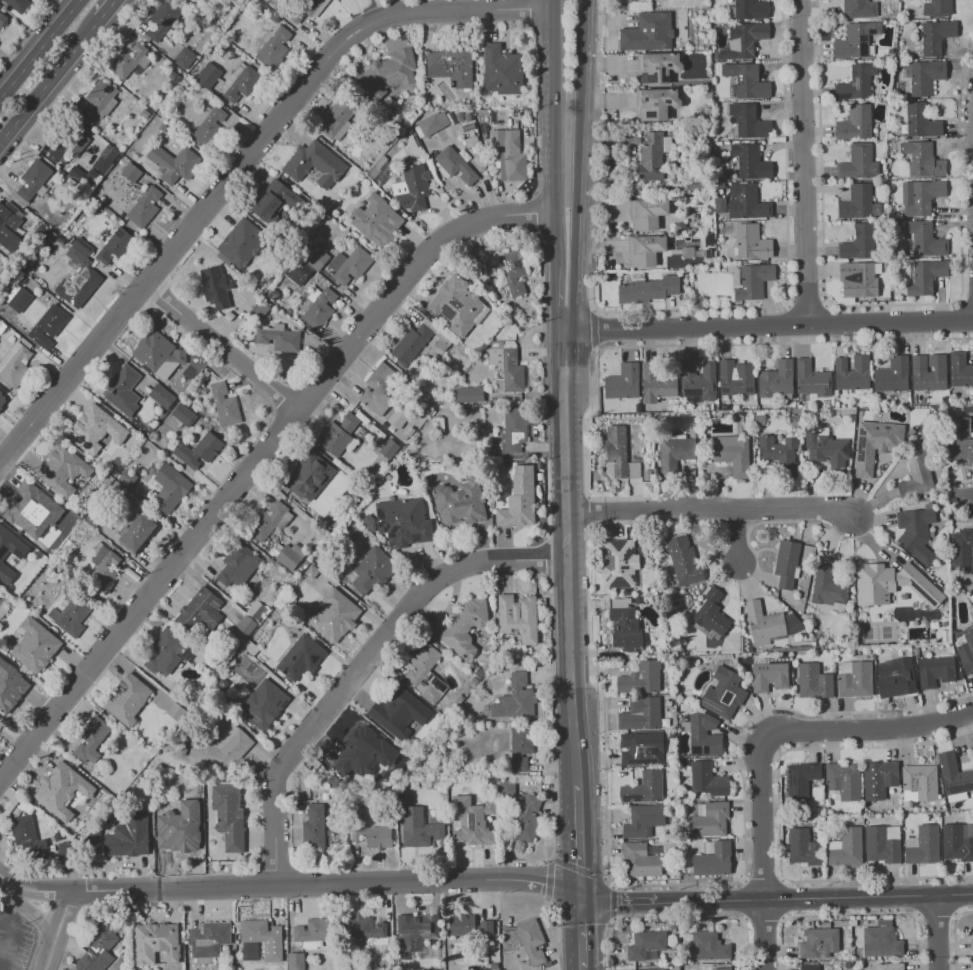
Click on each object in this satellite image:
building: (194, 0)
building: (17, 4)
building: (938, 8)
road: (105, 9)
building: (304, 9)
building: (749, 9)
building: (859, 9)
road: (530, 15)
building: (2, 18)
building: (162, 19)
building: (649, 32)
building: (937, 36)
building: (745, 40)
building: (857, 40)
building: (273, 45)
road: (38, 47)
building: (184, 57)
building: (128, 60)
building: (450, 64)
building: (658, 67)
building: (501, 70)
building: (388, 74)
building: (208, 75)
building: (924, 76)
road: (49, 78)
building: (747, 81)
building: (239, 82)
road: (67, 83)
building: (858, 83)
building: (99, 100)
building: (657, 103)
building: (706, 115)
building: (339, 117)
building: (750, 121)
building: (922, 121)
building: (433, 122)
building: (856, 123)
building: (209, 127)
road: (553, 133)
building: (696, 139)
building: (64, 146)
building: (507, 156)
building: (654, 156)
building: (105, 158)
building: (924, 159)
building: (752, 161)
road: (805, 161)
building: (173, 163)
building: (859, 163)
building: (314, 164)
building: (454, 164)
road: (575, 165)
building: (938, 177)
building: (32, 178)
road: (240, 178)
building: (412, 188)
building: (697, 189)
building: (921, 196)
building: (274, 200)
building: (748, 202)
building: (860, 203)
building: (144, 206)
building: (719, 207)
building: (649, 213)
building: (697, 216)
building: (376, 220)
building: (8, 226)
building: (681, 227)
building: (686, 234)
building: (927, 239)
building: (753, 242)
building: (860, 242)
building: (240, 244)
building: (114, 245)
building: (646, 249)
rooftop solar panel: (518, 263)
building: (307, 265)
building: (349, 265)
rooftop solar panel: (504, 265)
building: (513, 271)
building: (78, 275)
building: (925, 276)
building: (860, 279)
building: (752, 280)
building: (215, 286)
building: (650, 289)
building: (17, 298)
road: (553, 299)
road: (966, 299)
building: (456, 305)
road: (807, 306)
road: (874, 306)
building: (319, 307)
road: (594, 309)
road: (690, 310)
rooftop solar panel: (447, 312)
road: (767, 325)
building: (47, 326)
road: (594, 328)
building: (278, 337)
building: (412, 342)
road: (756, 344)
road: (232, 345)
road: (596, 347)
building: (157, 353)
building: (507, 363)
building: (15, 364)
building: (961, 369)
building: (930, 373)
building: (854, 374)
building: (894, 375)
building: (737, 378)
building: (813, 379)
building: (700, 381)
building: (777, 381)
building: (624, 382)
building: (659, 383)
building: (378, 388)
building: (122, 390)
rooftop solar panel: (694, 392)
building: (469, 394)
building: (161, 395)
building: (2, 397)
building: (802, 397)
building: (224, 404)
building: (807, 412)
building: (183, 414)
building: (737, 414)
building: (399, 416)
building: (760, 419)
building: (349, 422)
building: (95, 428)
building: (514, 428)
building: (333, 438)
building: (961, 439)
building: (876, 441)
building: (802, 443)
building: (388, 448)
building: (828, 449)
building: (198, 450)
building: (621, 453)
building: (676, 453)
building: (733, 454)
building: (781, 454)
road: (260, 464)
building: (63, 470)
building: (656, 470)
building: (918, 473)
building: (649, 475)
building: (308, 476)
road: (963, 481)
building: (169, 488)
building: (519, 498)
road: (967, 499)
building: (459, 502)
road: (709, 509)
road: (587, 510)
rooftop solar panel: (381, 512)
road: (962, 517)
building: (266, 521)
rooftop solar panel: (380, 521)
building: (403, 521)
rooftop solar panel: (394, 528)
building: (138, 532)
building: (917, 533)
road: (739, 536)
rooftop solar panel: (618, 544)
building: (962, 551)
rooftop solar panel: (628, 554)
building: (19, 555)
building: (289, 555)
road: (564, 556)
rooftop solar panel: (609, 559)
building: (685, 561)
building: (620, 563)
building: (788, 563)
building: (237, 565)
rooftop solar panel: (625, 566)
building: (102, 568)
building: (371, 570)
rooftop solar panel: (608, 577)
rooftop solar panel: (634, 577)
rooftop solar panel: (622, 580)
building: (891, 584)
building: (829, 587)
building: (655, 591)
building: (639, 600)
building: (200, 610)
building: (70, 615)
building: (333, 616)
building: (518, 616)
building: (711, 616)
building: (765, 623)
building: (794, 624)
building: (463, 626)
building: (627, 630)
building: (732, 644)
building: (35, 645)
building: (747, 645)
building: (669, 646)
building: (967, 649)
building: (871, 650)
building: (164, 652)
building: (300, 657)
building: (937, 671)
road: (365, 673)
building: (425, 673)
building: (770, 676)
rooftop solar panel: (431, 678)
building: (642, 678)
building: (897, 678)
building: (855, 679)
building: (815, 681)
rooftop solar panel: (440, 683)
building: (10, 686)
building: (725, 693)
building: (679, 698)
building: (128, 699)
building: (515, 699)
building: (263, 704)
rooftop solar panel: (280, 704)
rooftop solar panel: (711, 705)
building: (174, 711)
building: (642, 714)
rooftop solar panel: (255, 722)
road: (553, 726)
road: (871, 729)
building: (671, 735)
building: (705, 736)
building: (91, 740)
building: (520, 747)
rooftop solar panel: (694, 747)
building: (224, 748)
building: (643, 748)
rooftop solar panel: (706, 748)
building: (365, 753)
rooftop solar panel: (635, 761)
building: (685, 763)
building: (955, 777)
building: (880, 778)
building: (709, 780)
building: (802, 780)
building: (844, 781)
building: (922, 781)
building: (506, 786)
building: (645, 788)
rooftop solar panel: (962, 788)
building: (61, 790)
building: (193, 805)
building: (827, 808)
building: (860, 808)
road: (779, 814)
building: (228, 815)
building: (711, 818)
road: (762, 818)
building: (528, 819)
building: (644, 820)
building: (828, 820)
building: (471, 821)
building: (313, 826)
building: (418, 828)
building: (128, 836)
building: (28, 837)
road: (578, 839)
building: (176, 841)
building: (958, 841)
building: (884, 843)
building: (924, 845)
building: (847, 846)
building: (805, 847)
building: (66, 849)
building: (714, 859)
building: (642, 860)
road: (560, 861)
road: (764, 881)
road: (730, 882)
road: (325, 888)
road: (12, 891)
road: (31, 891)
traffic signals: (579, 896)
road: (955, 896)
road: (919, 897)
road: (819, 898)
road: (783, 899)
road: (746, 900)
road: (622, 904)
road: (614, 905)
road: (12, 912)
road: (63, 912)
road: (851, 915)
road: (681, 916)
road: (937, 916)
road: (39, 918)
road: (764, 919)
road: (1, 920)
building: (827, 924)
building: (469, 925)
building: (364, 927)
building: (674, 928)
building: (312, 932)
road: (580, 932)
road: (937, 932)
building: (415, 933)
road: (765, 935)
road: (955, 935)
road: (13, 938)
parking lot: (15, 939)
building: (208, 939)
building: (260, 940)
building: (882, 940)
building: (531, 941)
building: (155, 942)
building: (821, 943)
building: (972, 944)
building: (647, 945)
building: (708, 946)
road: (50, 951)
building: (295, 961)
building: (848, 964)
building: (972, 965)
building: (891, 966)
building: (810, 967)
road: (581, 969)
building: (653, 969)
building: (724, 969)

